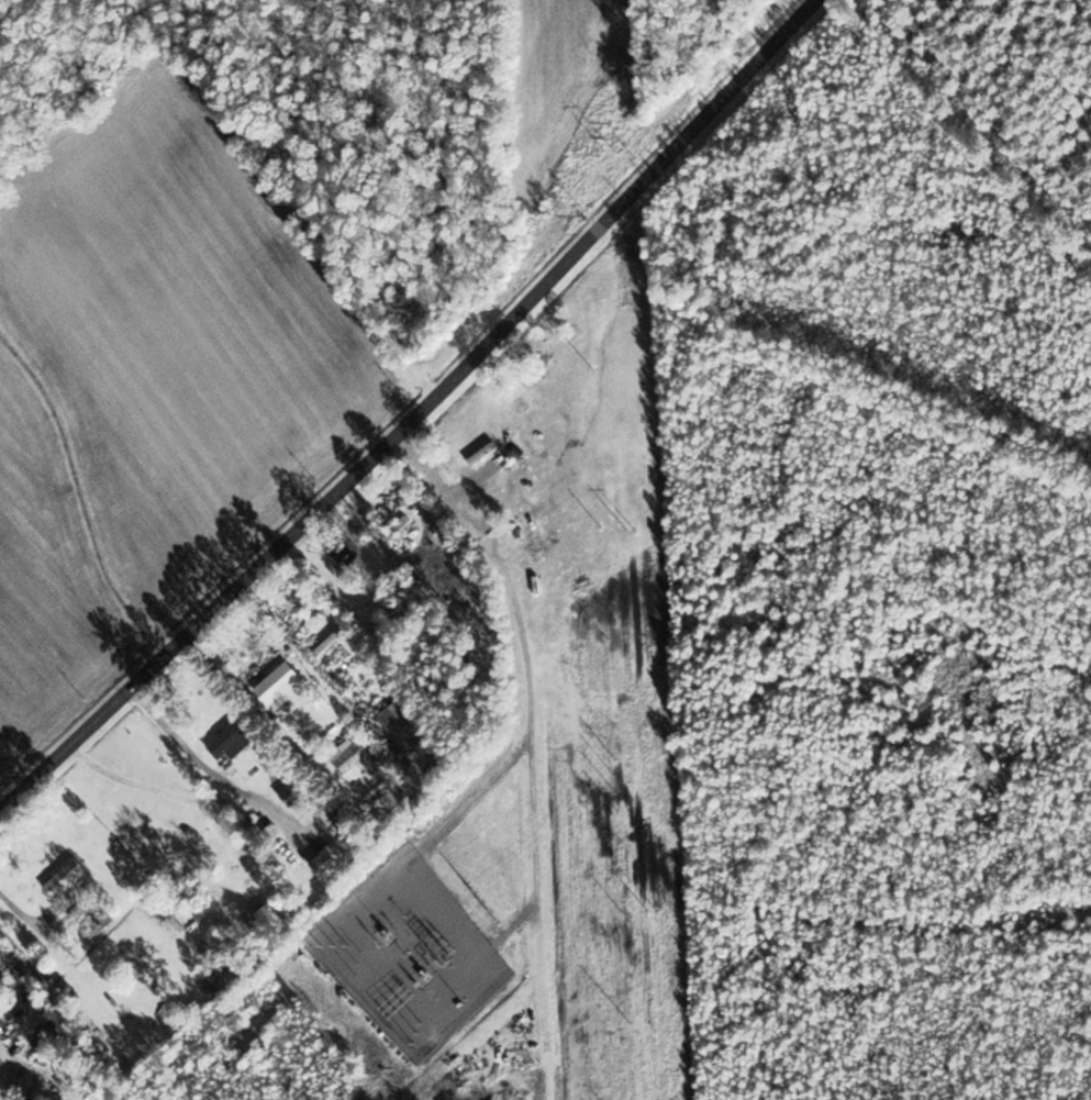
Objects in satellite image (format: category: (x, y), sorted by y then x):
power tower: (612, 149)
road: (415, 408)
power tower: (632, 529)
building: (407, 612)
building: (287, 685)
building: (408, 724)
building: (232, 740)
building: (356, 759)
road: (202, 763)
building: (298, 792)
building: (73, 884)
road: (18, 905)
power tower: (655, 910)
building: (278, 921)
building: (16, 1008)
road: (4, 1057)

